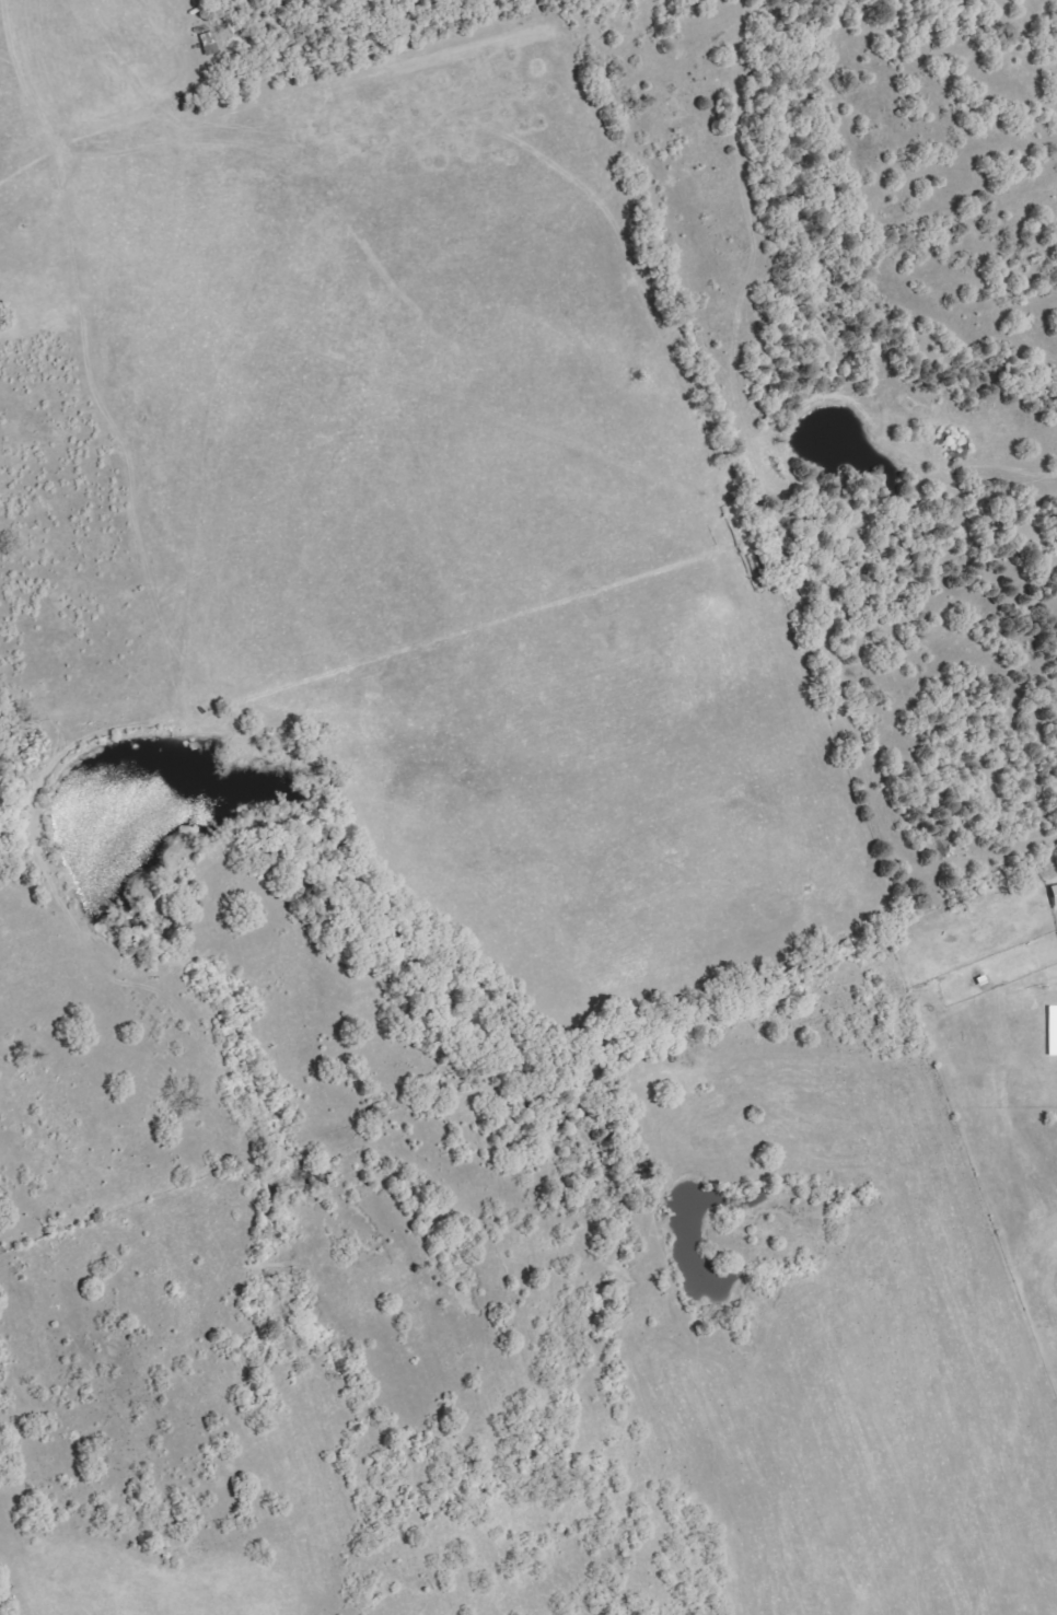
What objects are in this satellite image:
building: (1055, 893)

